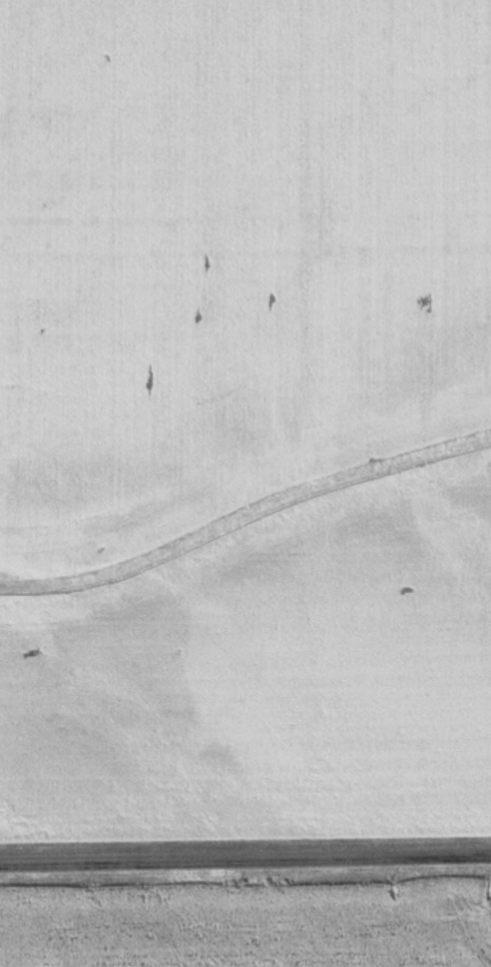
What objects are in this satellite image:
road: (245, 860)

